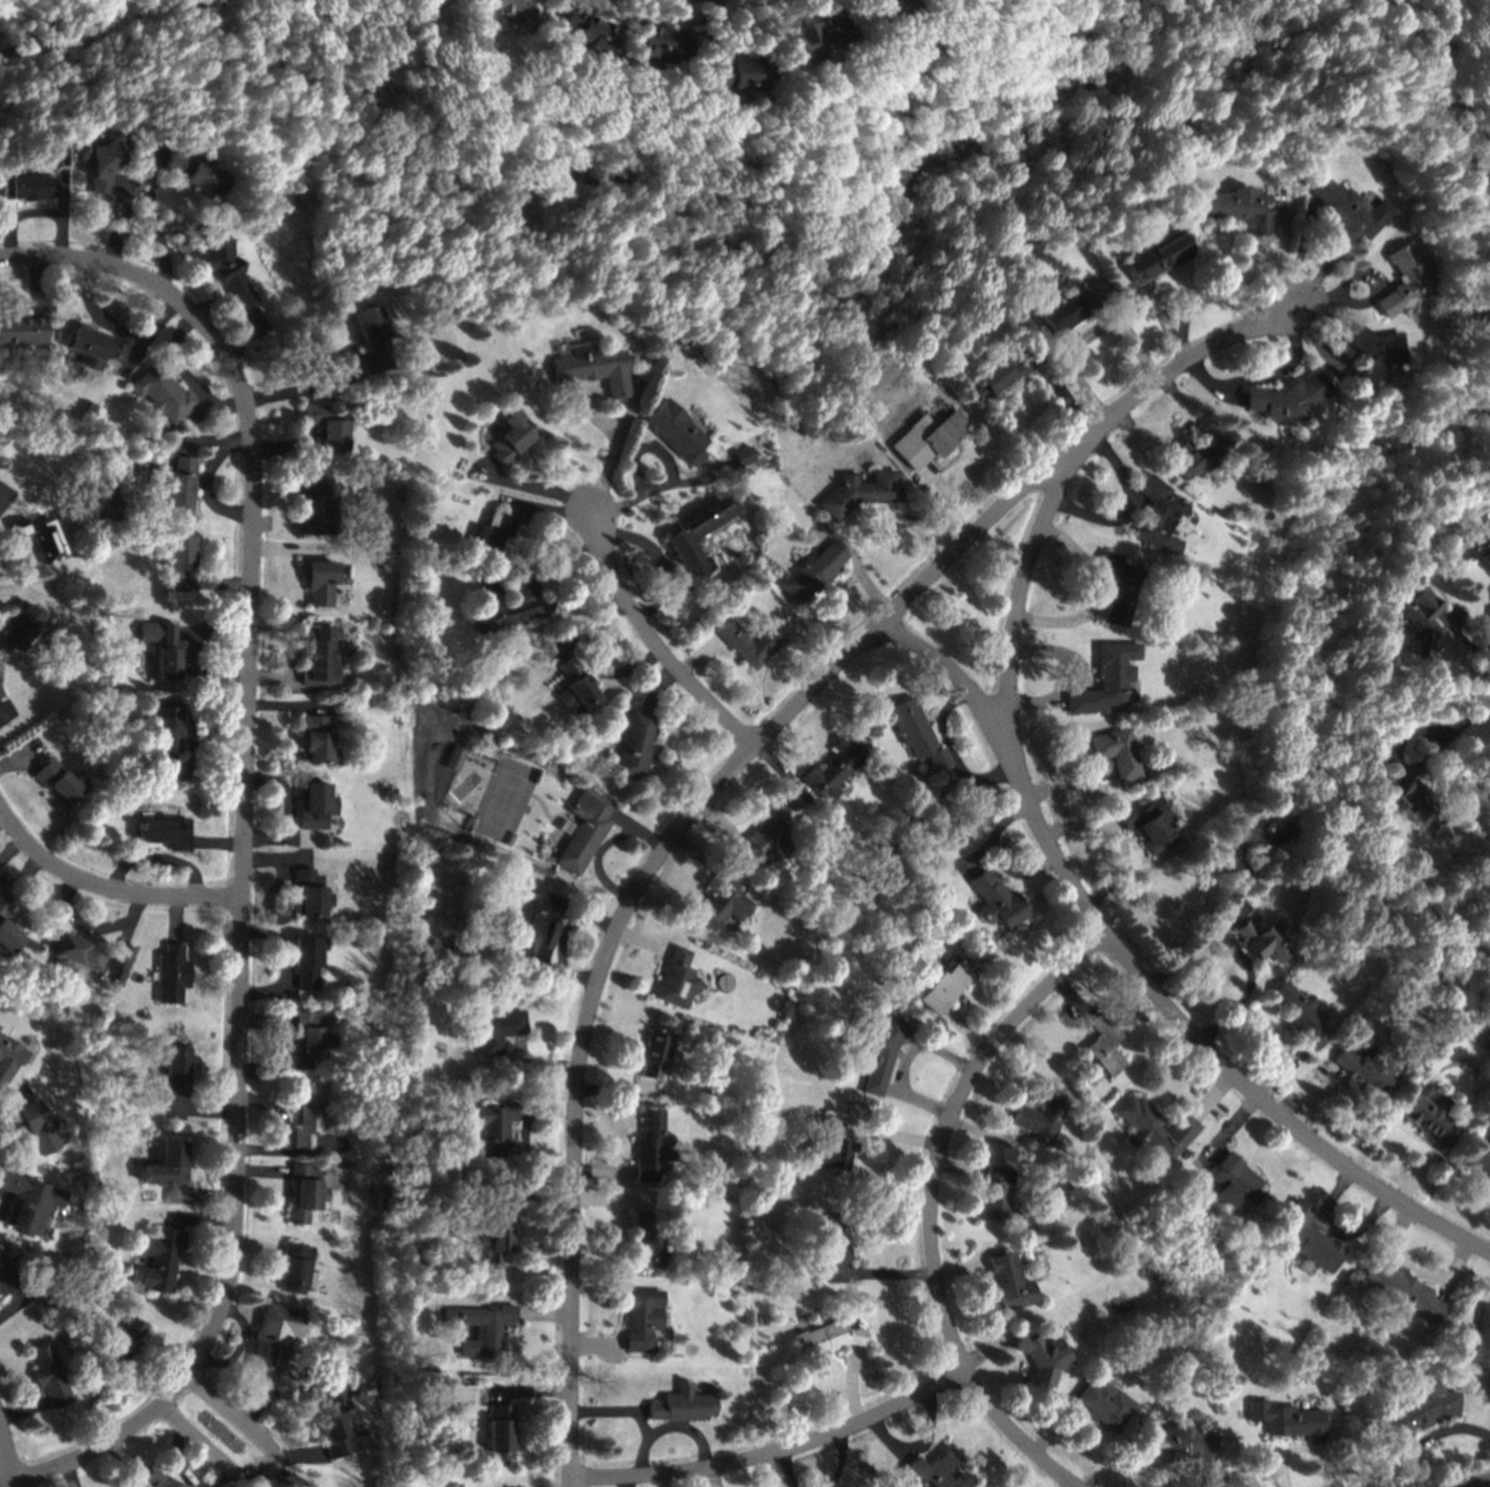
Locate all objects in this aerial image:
road: (559, 5)
building: (890, 6)
road: (830, 7)
building: (512, 8)
road: (686, 13)
road: (719, 28)
building: (588, 31)
building: (816, 38)
building: (660, 42)
building: (735, 74)
building: (103, 161)
building: (192, 174)
building: (26, 187)
building: (1239, 209)
building: (1345, 211)
road: (60, 214)
road: (18, 215)
road: (151, 217)
road: (117, 218)
road: (1275, 224)
road: (1298, 252)
road: (36, 255)
building: (1155, 257)
road: (1330, 258)
road: (1277, 259)
building: (224, 268)
building: (1404, 282)
road: (35, 284)
road: (1372, 293)
road: (1182, 304)
road: (227, 307)
building: (1063, 309)
road: (96, 314)
road: (1163, 322)
road: (147, 329)
building: (21, 331)
road: (1126, 332)
building: (372, 333)
road: (254, 335)
building: (92, 346)
road: (1335, 351)
building: (1371, 357)
road: (1066, 358)
road: (350, 359)
road: (1334, 360)
road: (177, 365)
building: (589, 369)
road: (366, 372)
building: (998, 375)
road: (1262, 377)
road: (583, 389)
road: (1059, 392)
road: (282, 393)
road: (1223, 393)
building: (161, 394)
building: (1284, 400)
road: (592, 417)
building: (325, 426)
building: (673, 431)
building: (936, 436)
road: (1179, 436)
road: (200, 440)
building: (508, 440)
road: (612, 445)
road: (643, 446)
road: (286, 447)
road: (184, 449)
building: (1203, 450)
building: (741, 456)
road: (706, 468)
building: (179, 485)
road: (659, 486)
road: (206, 488)
road: (525, 489)
building: (858, 492)
road: (935, 497)
building: (314, 503)
road: (1129, 506)
road: (1137, 507)
road: (512, 508)
road: (542, 508)
building: (1159, 513)
road: (883, 514)
road: (272, 524)
road: (921, 527)
building: (696, 532)
building: (491, 533)
building: (41, 538)
road: (644, 544)
building: (1466, 544)
road: (285, 549)
road: (567, 557)
road: (21, 558)
road: (854, 558)
building: (178, 561)
building: (812, 572)
road: (1102, 581)
building: (319, 582)
road: (219, 583)
road: (1020, 589)
building: (1120, 589)
road: (30, 591)
road: (1098, 595)
road: (660, 597)
building: (509, 603)
building: (1418, 622)
road: (212, 623)
building: (21, 626)
road: (583, 627)
road: (649, 638)
road: (1462, 640)
building: (748, 642)
building: (161, 648)
road: (698, 654)
building: (321, 656)
road: (1072, 656)
road: (291, 665)
road: (197, 672)
road: (606, 673)
building: (1112, 675)
road: (272, 677)
road: (657, 686)
building: (576, 688)
building: (1, 694)
road: (1043, 703)
road: (286, 705)
road: (4, 716)
road: (194, 718)
road: (1467, 719)
building: (168, 726)
building: (916, 733)
building: (318, 740)
building: (635, 746)
road: (952, 753)
building: (1117, 753)
road: (20, 758)
building: (454, 758)
road: (29, 763)
road: (1396, 763)
building: (834, 769)
road: (783, 772)
road: (725, 774)
road: (195, 777)
road: (958, 780)
building: (57, 782)
road: (950, 784)
road: (1069, 784)
road: (286, 791)
park: (504, 800)
building: (1410, 800)
building: (315, 804)
road: (3, 820)
road: (723, 824)
building: (1146, 824)
road: (1112, 827)
road: (637, 829)
building: (584, 830)
building: (771, 830)
building: (163, 832)
road: (280, 838)
building: (1260, 838)
road: (1117, 839)
road: (218, 843)
road: (11, 849)
road: (695, 852)
road: (158, 857)
road: (976, 857)
road: (999, 858)
road: (276, 859)
road: (598, 859)
road: (241, 875)
road: (23, 876)
building: (927, 883)
road: (106, 887)
building: (310, 893)
building: (997, 902)
building: (722, 903)
road: (268, 912)
park: (441, 914)
road: (175, 918)
road: (569, 924)
road: (79, 925)
building: (539, 927)
road: (1218, 929)
building: (7, 932)
road: (126, 935)
building: (1261, 940)
road: (642, 941)
road: (281, 942)
building: (73, 952)
building: (307, 960)
road: (558, 971)
building: (173, 974)
road: (1140, 974)
building: (151, 979)
building: (677, 981)
building: (943, 985)
road: (1246, 989)
road: (267, 990)
road: (1071, 997)
building: (1299, 1014)
road: (265, 1020)
road: (965, 1029)
building: (497, 1031)
building: (311, 1037)
road: (921, 1045)
building: (1102, 1047)
building: (879, 1052)
building: (654, 1053)
building: (10, 1058)
road: (282, 1060)
road: (538, 1063)
building: (1369, 1066)
building: (177, 1068)
road: (1280, 1072)
road: (616, 1090)
road: (1212, 1095)
road: (14, 1098)
road: (1316, 1099)
road: (917, 1100)
road: (198, 1110)
road: (279, 1112)
road: (547, 1112)
building: (308, 1114)
building: (1426, 1115)
road: (855, 1118)
building: (1038, 1119)
road: (944, 1125)
building: (38, 1126)
building: (1153, 1128)
building: (496, 1129)
road: (1228, 1129)
road: (985, 1133)
road: (890, 1135)
building: (652, 1146)
building: (831, 1146)
road: (301, 1153)
road: (1214, 1153)
road: (528, 1157)
building: (1481, 1157)
building: (168, 1165)
road: (958, 1167)
road: (602, 1171)
road: (262, 1172)
road: (1418, 1174)
building: (1234, 1184)
building: (305, 1193)
road: (200, 1194)
building: (995, 1194)
road: (1, 1196)
road: (1333, 1196)
road: (569, 1199)
building: (28, 1202)
road: (644, 1205)
road: (1, 1210)
road: (201, 1219)
road: (1355, 1232)
building: (498, 1236)
building: (1309, 1238)
building: (827, 1240)
building: (648, 1243)
building: (2, 1248)
road: (256, 1248)
road: (1402, 1256)
building: (160, 1260)
building: (296, 1268)
road: (1454, 1269)
road: (960, 1271)
road: (879, 1273)
building: (7, 1278)
building: (1010, 1283)
building: (1401, 1290)
road: (15, 1305)
road: (544, 1314)
building: (642, 1319)
building: (762, 1320)
road: (167, 1327)
building: (480, 1327)
building: (826, 1338)
building: (1476, 1340)
building: (123, 1343)
road: (596, 1344)
road: (239, 1345)
building: (276, 1345)
road: (985, 1348)
building: (1041, 1357)
building: (50, 1376)
road: (23, 1378)
road: (850, 1384)
road: (528, 1391)
road: (501, 1398)
building: (682, 1404)
building: (1100, 1405)
road: (258, 1407)
road: (23, 1410)
building: (1420, 1410)
road: (606, 1411)
building: (341, 1417)
road: (1068, 1421)
building: (1287, 1421)
road: (642, 1425)
road: (1088, 1427)
road: (669, 1428)
road: (928, 1431)
building: (500, 1433)
road: (1013, 1435)
road: (888, 1437)
road: (1423, 1440)
building: (1180, 1444)
road: (1316, 1446)
road: (1306, 1447)
road: (773, 1451)
road: (299, 1454)
road: (127, 1457)
road: (841, 1459)
road: (1377, 1459)
road: (7, 1460)
road: (1183, 1466)
road: (1133, 1467)
road: (787, 1468)
building: (937, 1470)
road: (268, 1471)
road: (1130, 1472)
road: (70, 1474)
road: (289, 1474)
road: (187, 1475)
road: (714, 1476)
road: (6, 1477)
building: (158, 1480)
road: (626, 1481)
road: (1159, 1481)
road: (257, 1482)
road: (1481, 1484)
road: (1072, 1486)

